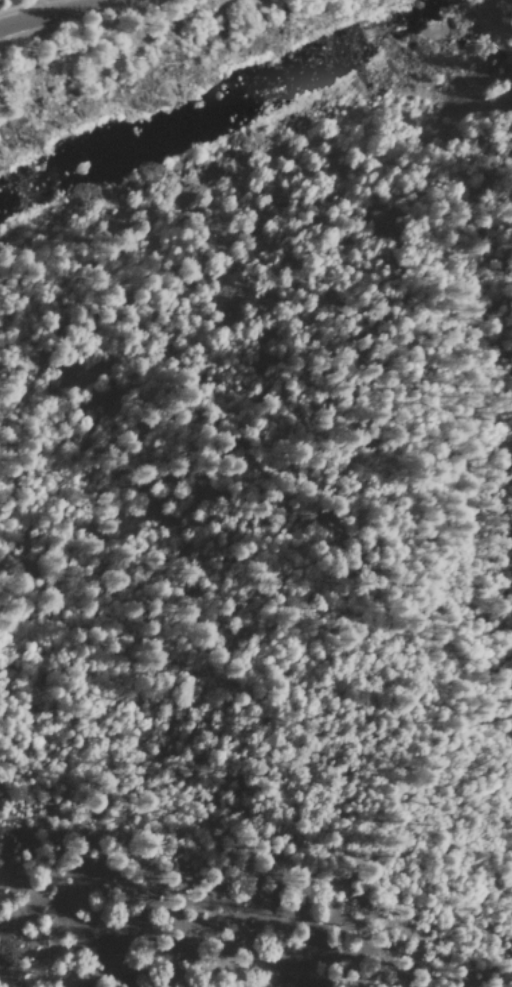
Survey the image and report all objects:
road: (17, 6)
river: (226, 111)

